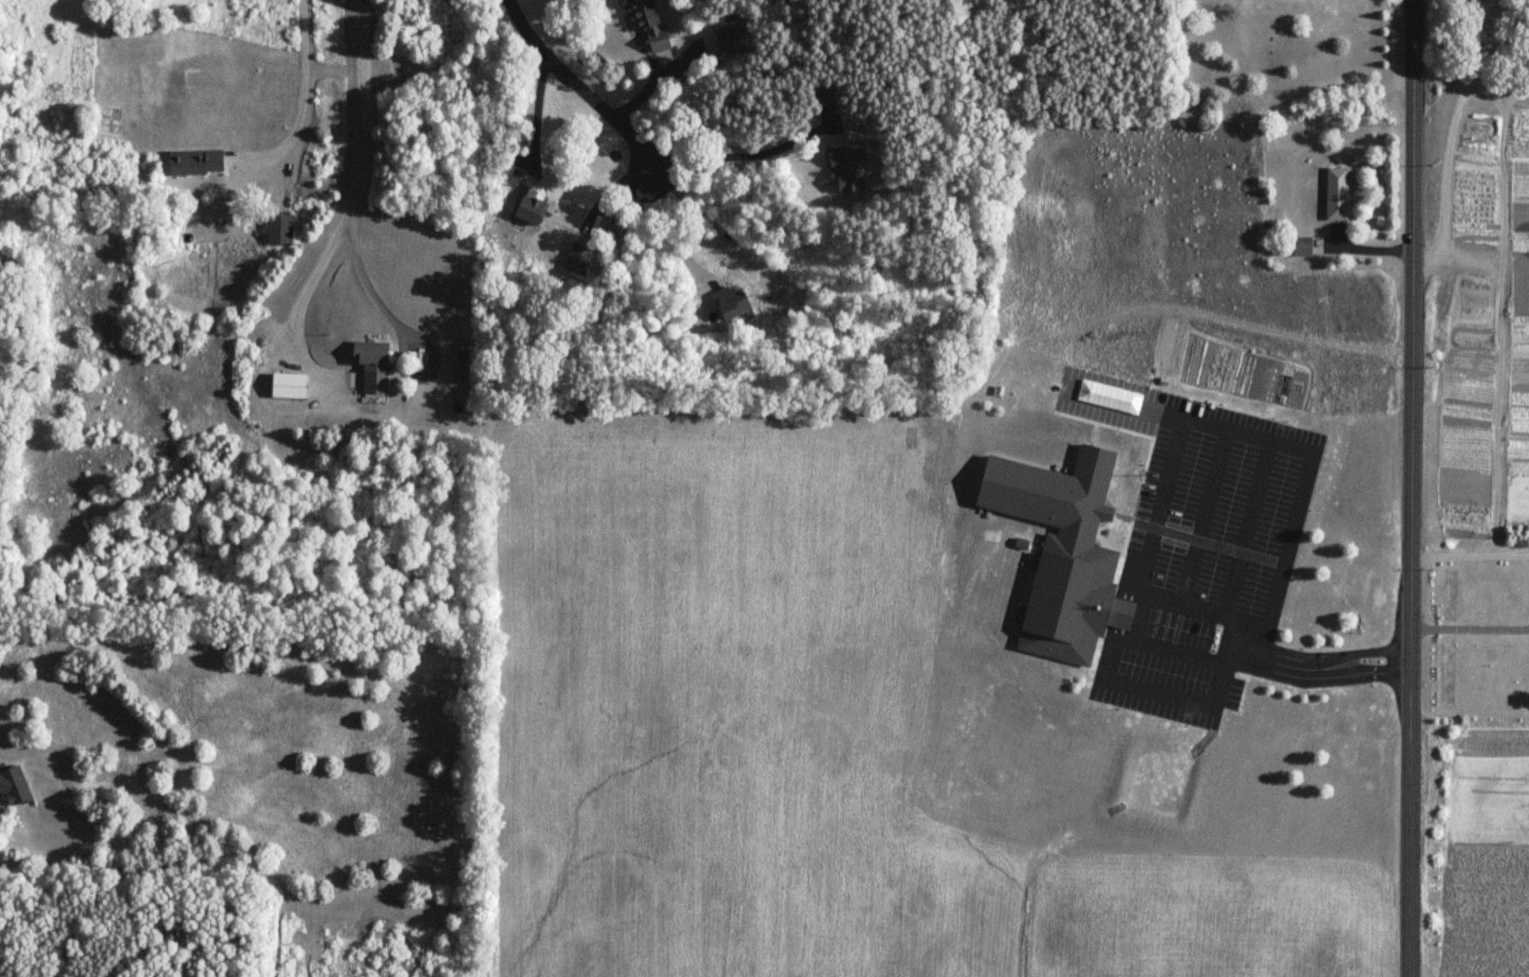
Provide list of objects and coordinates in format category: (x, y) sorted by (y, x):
building: (649, 27)
building: (731, 39)
road: (1486, 42)
road: (301, 75)
road: (578, 83)
building: (819, 96)
road: (536, 112)
road: (1449, 151)
road: (744, 155)
building: (193, 162)
building: (848, 170)
road: (362, 171)
building: (1336, 195)
building: (528, 205)
road: (676, 225)
building: (278, 229)
building: (1300, 247)
building: (580, 254)
road: (373, 276)
building: (731, 304)
building: (370, 366)
building: (286, 386)
road: (1207, 482)
road: (1408, 488)
road: (1197, 521)
road: (1468, 555)
road: (1129, 560)
road: (1185, 569)
building: (1070, 593)
road: (1191, 611)
road: (1468, 627)
road: (1370, 651)
road: (1179, 655)
road: (1368, 679)
building: (12, 786)

